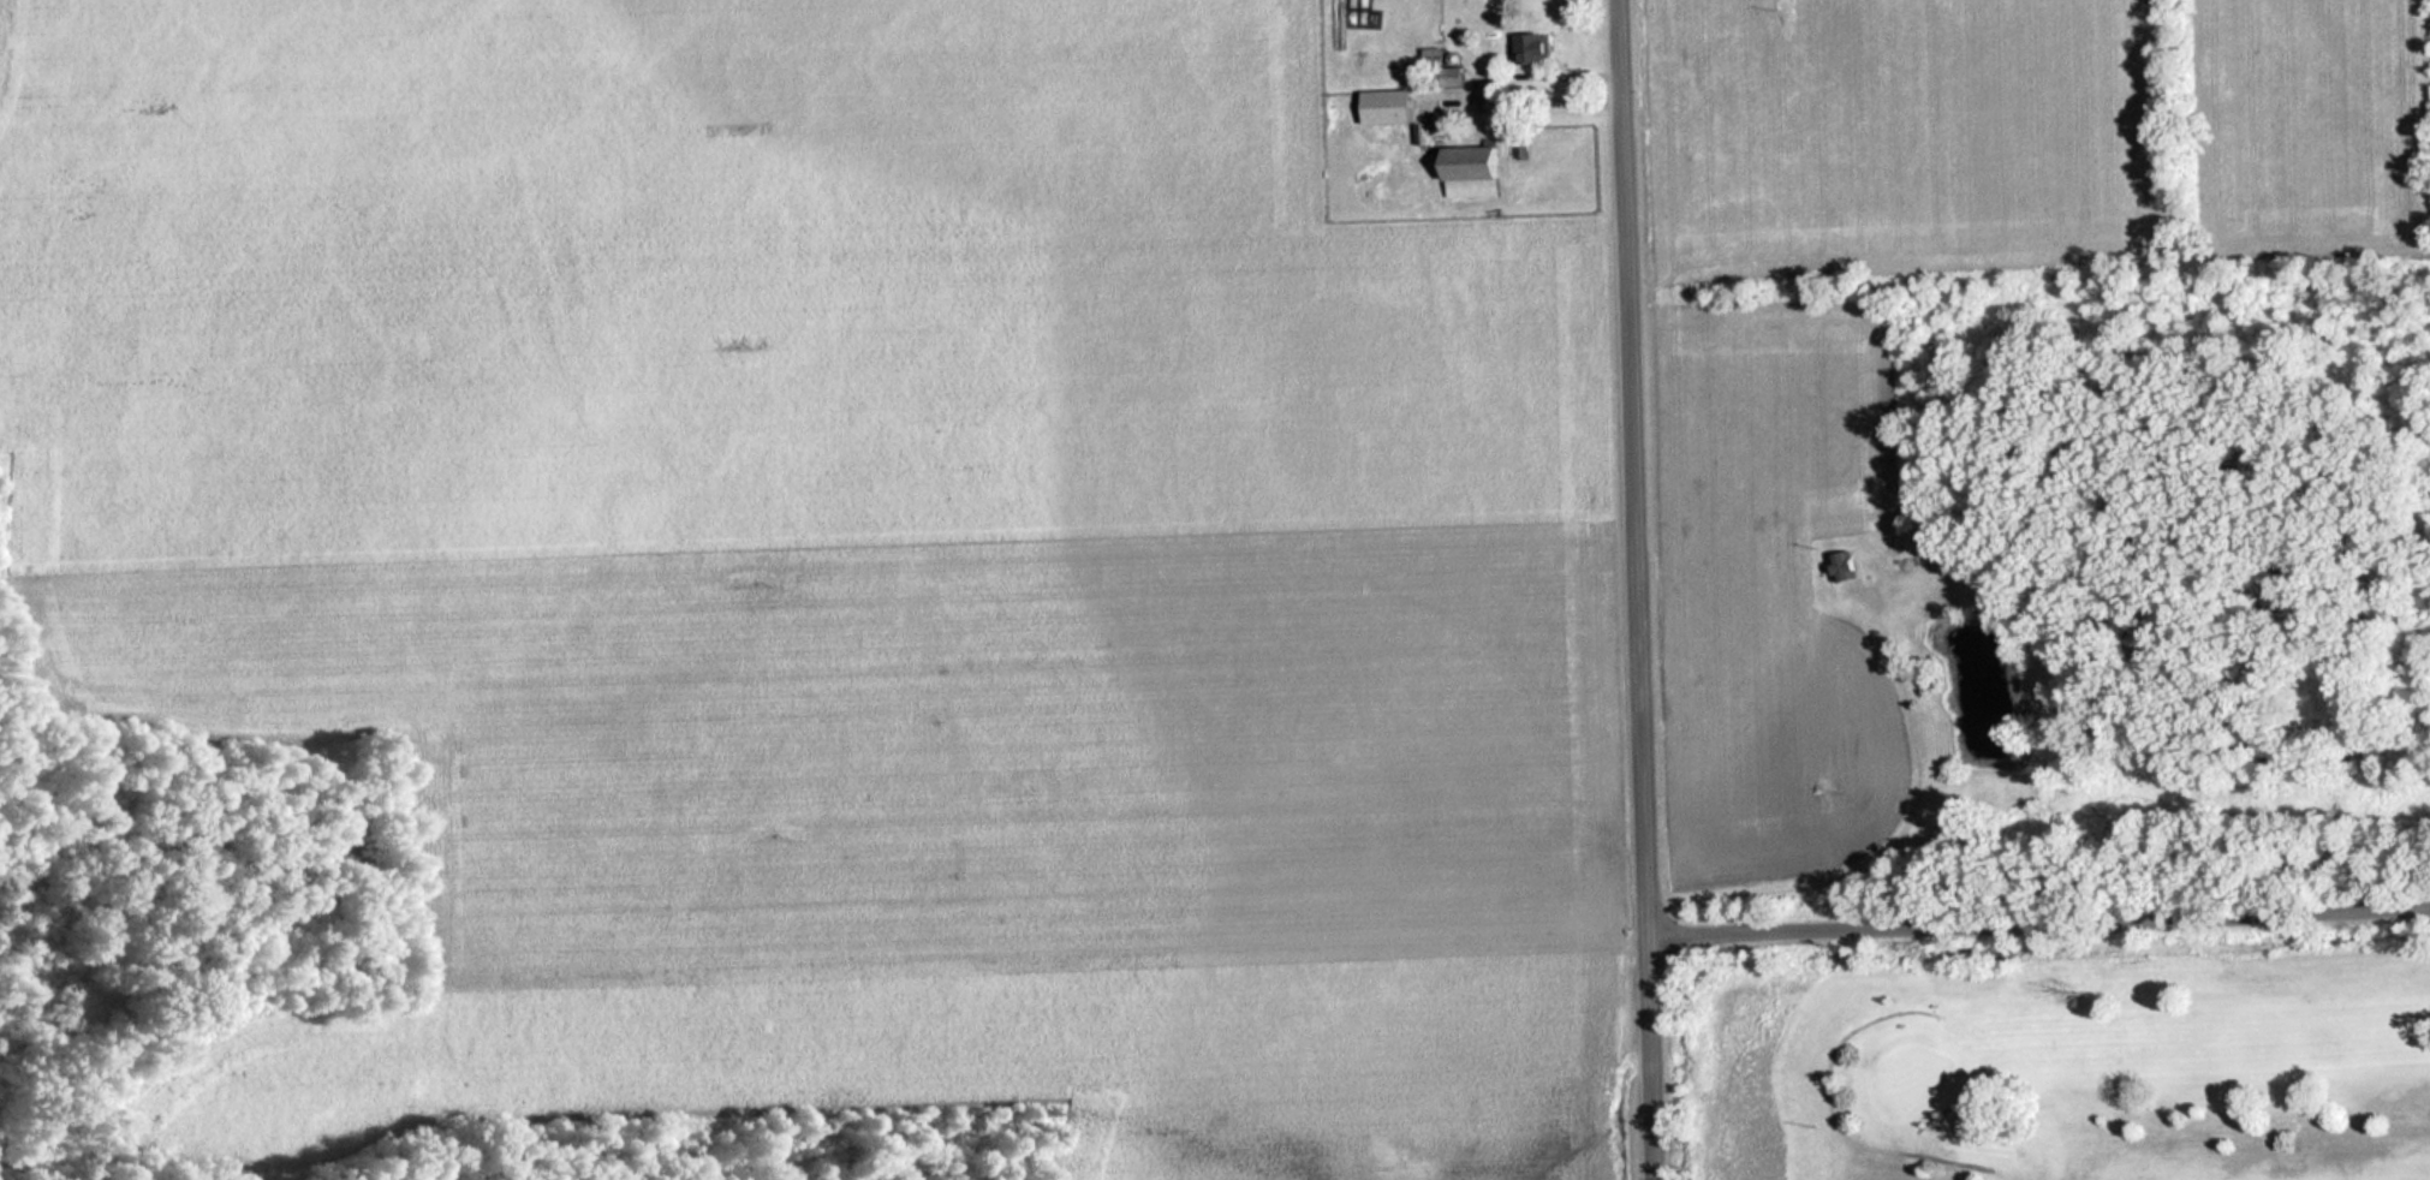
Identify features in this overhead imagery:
building: (1538, 47)
building: (1446, 67)
building: (1393, 106)
building: (1478, 171)
building: (1848, 565)
road: (1644, 589)
road: (2044, 916)
park: (2071, 1062)

